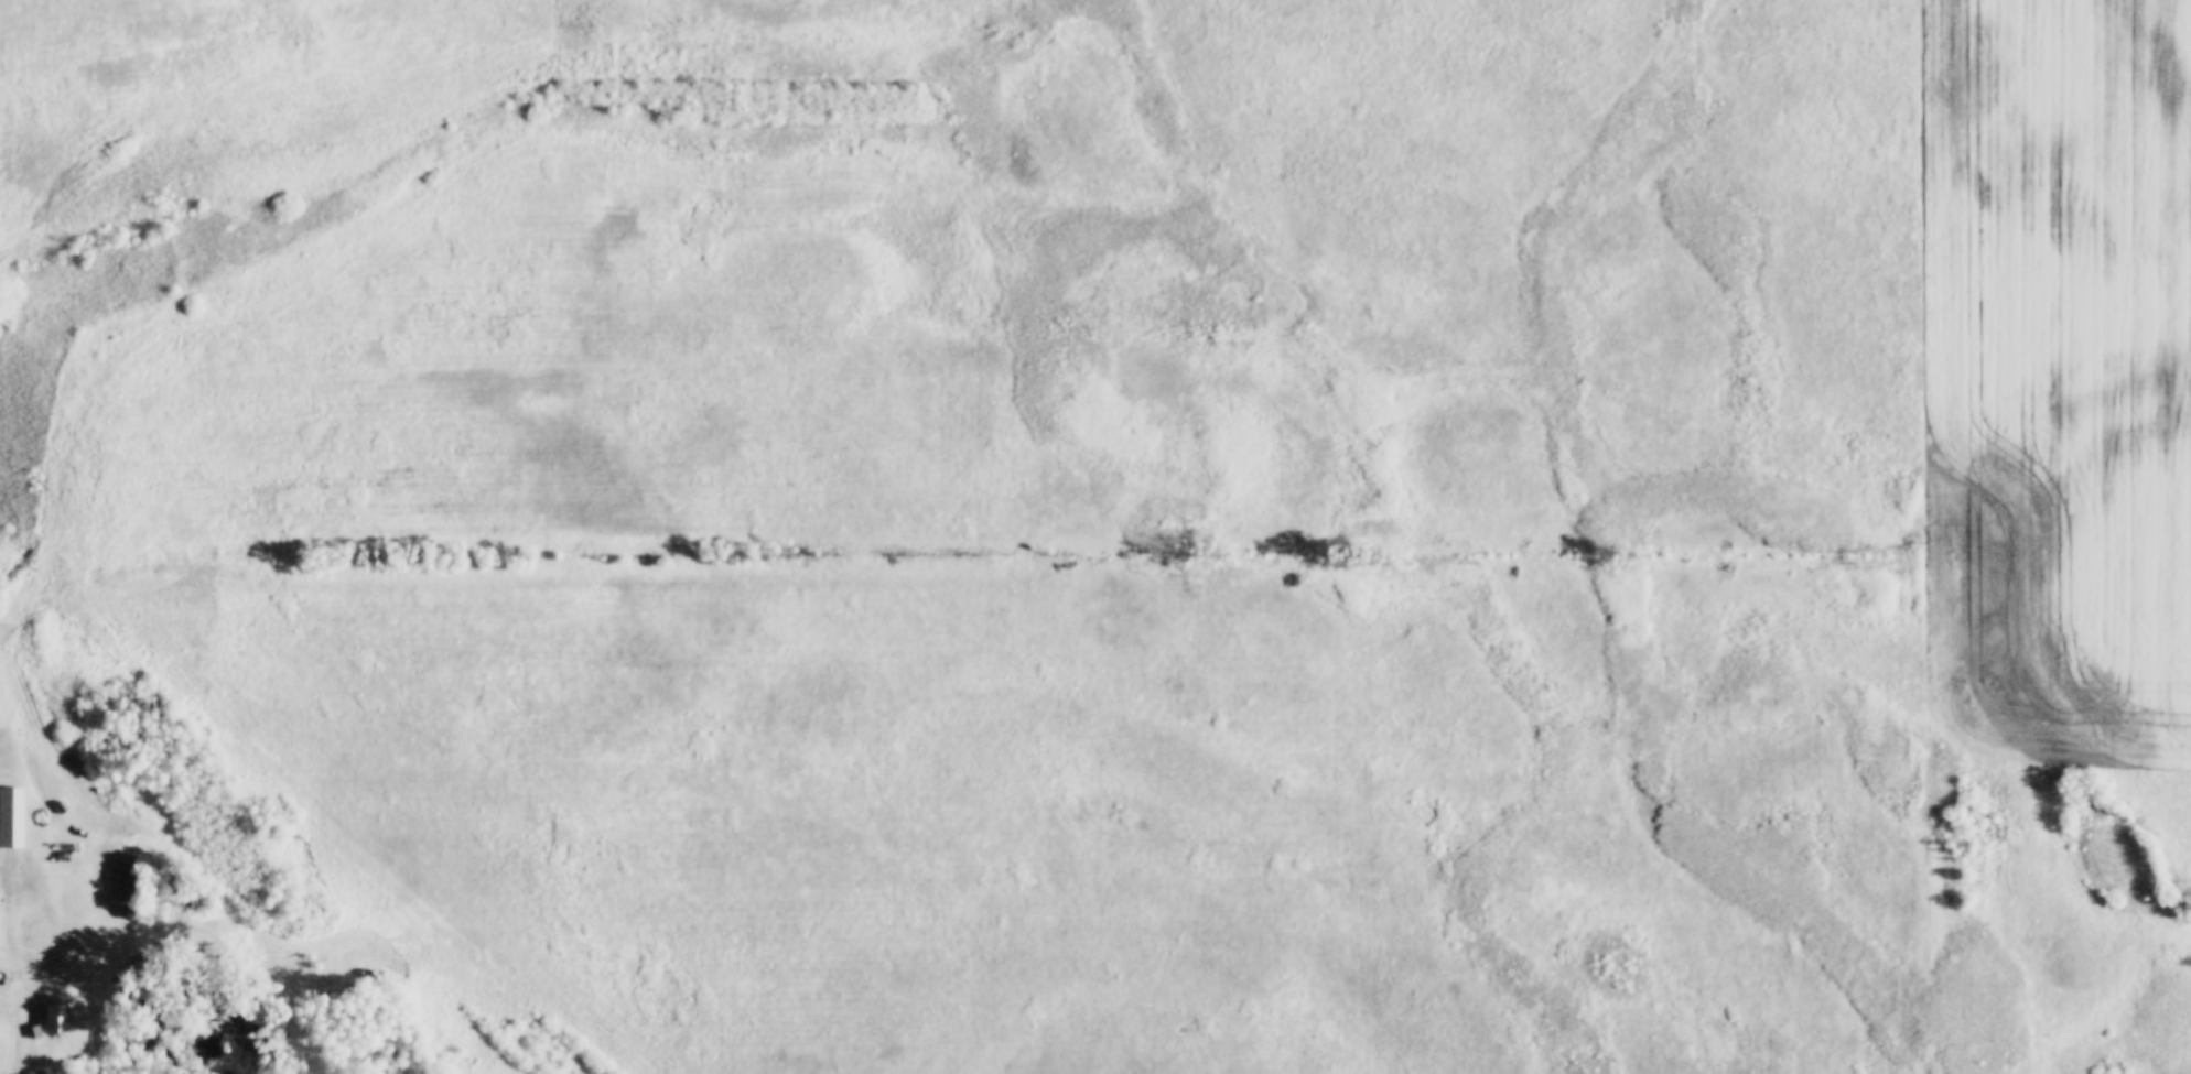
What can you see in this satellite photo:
road: (1, 848)
building: (126, 870)
building: (26, 934)
building: (51, 1018)

